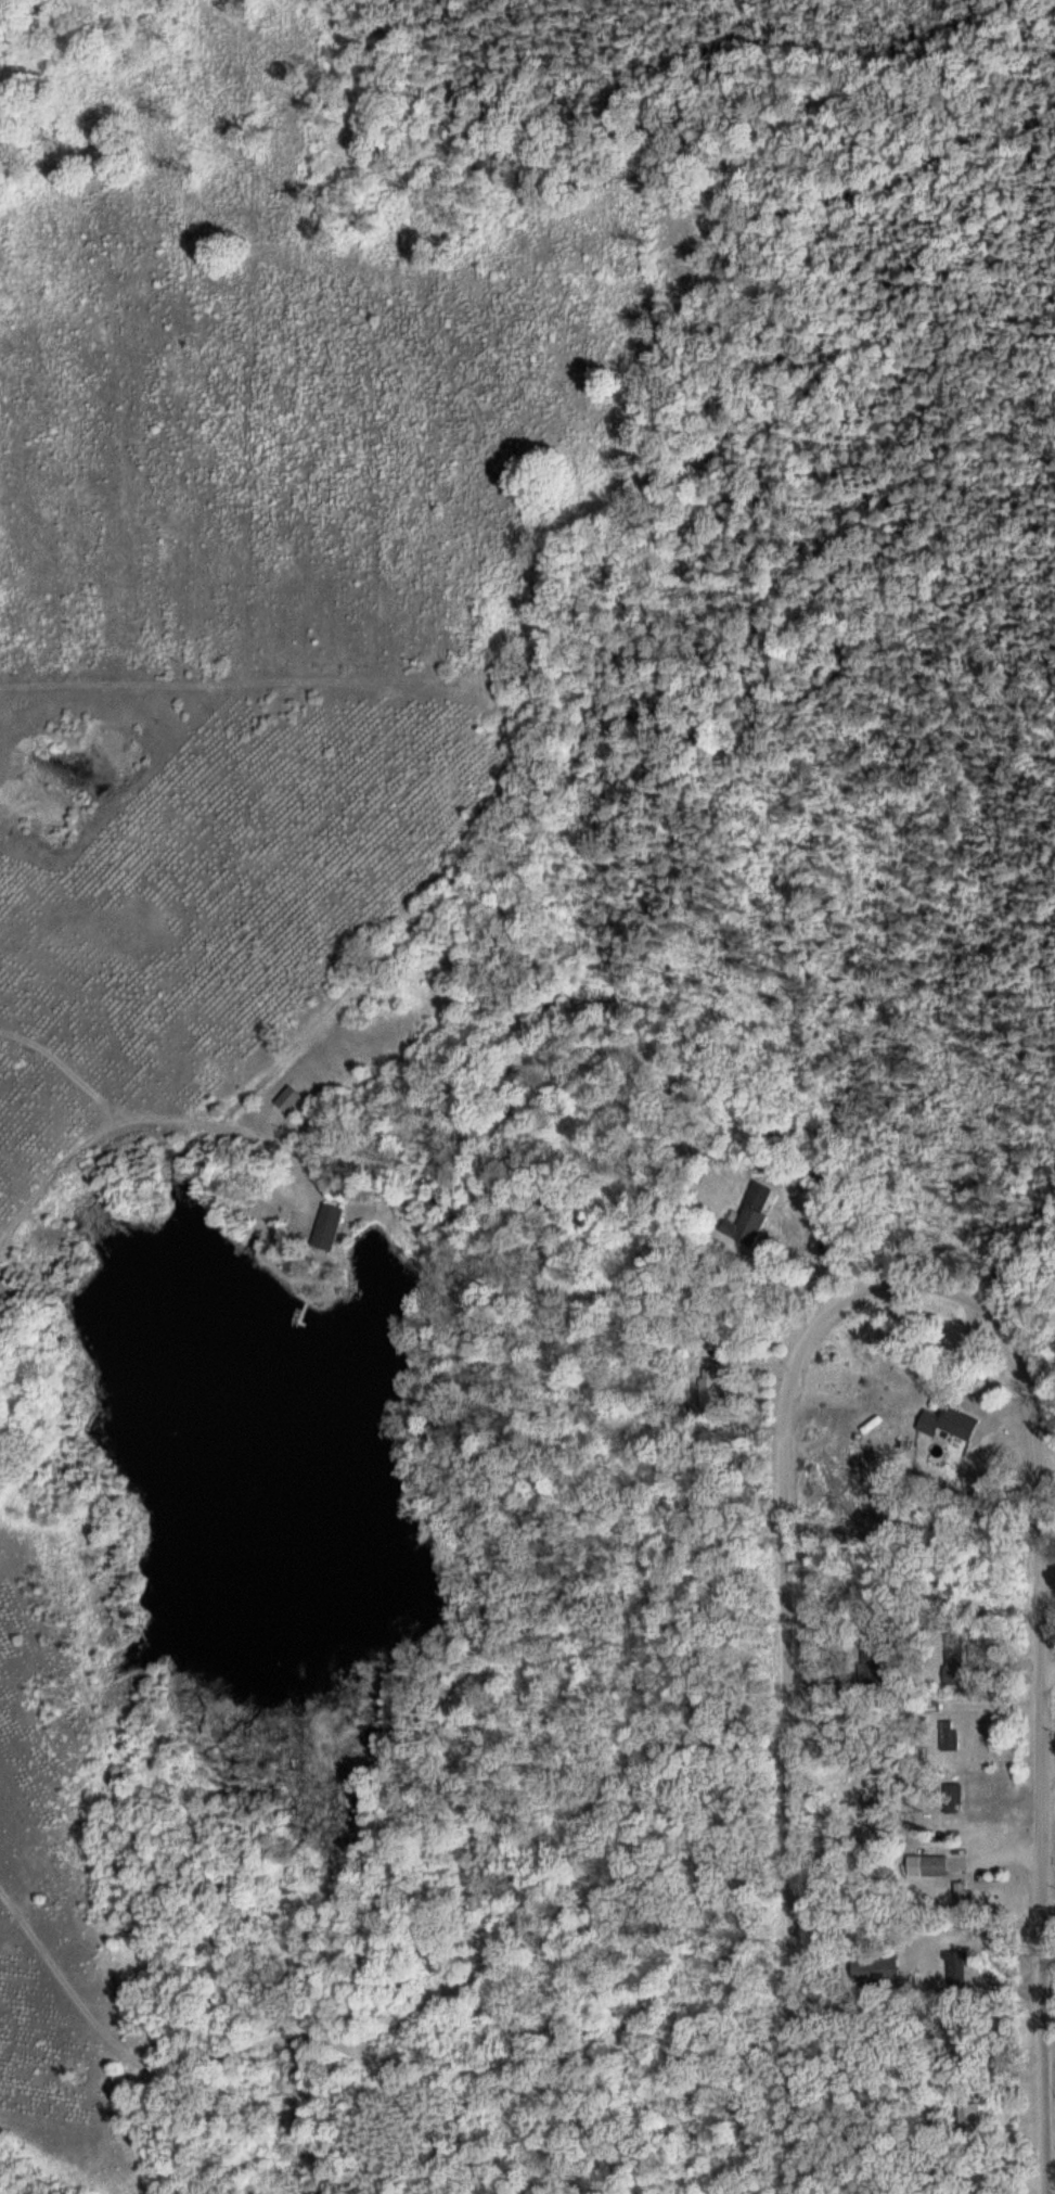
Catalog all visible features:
building: (749, 1225)
building: (330, 1226)
building: (951, 1423)
building: (874, 1662)
road: (1048, 1676)
road: (789, 1712)
building: (952, 1735)
building: (965, 1895)
building: (878, 1969)
building: (973, 2115)

